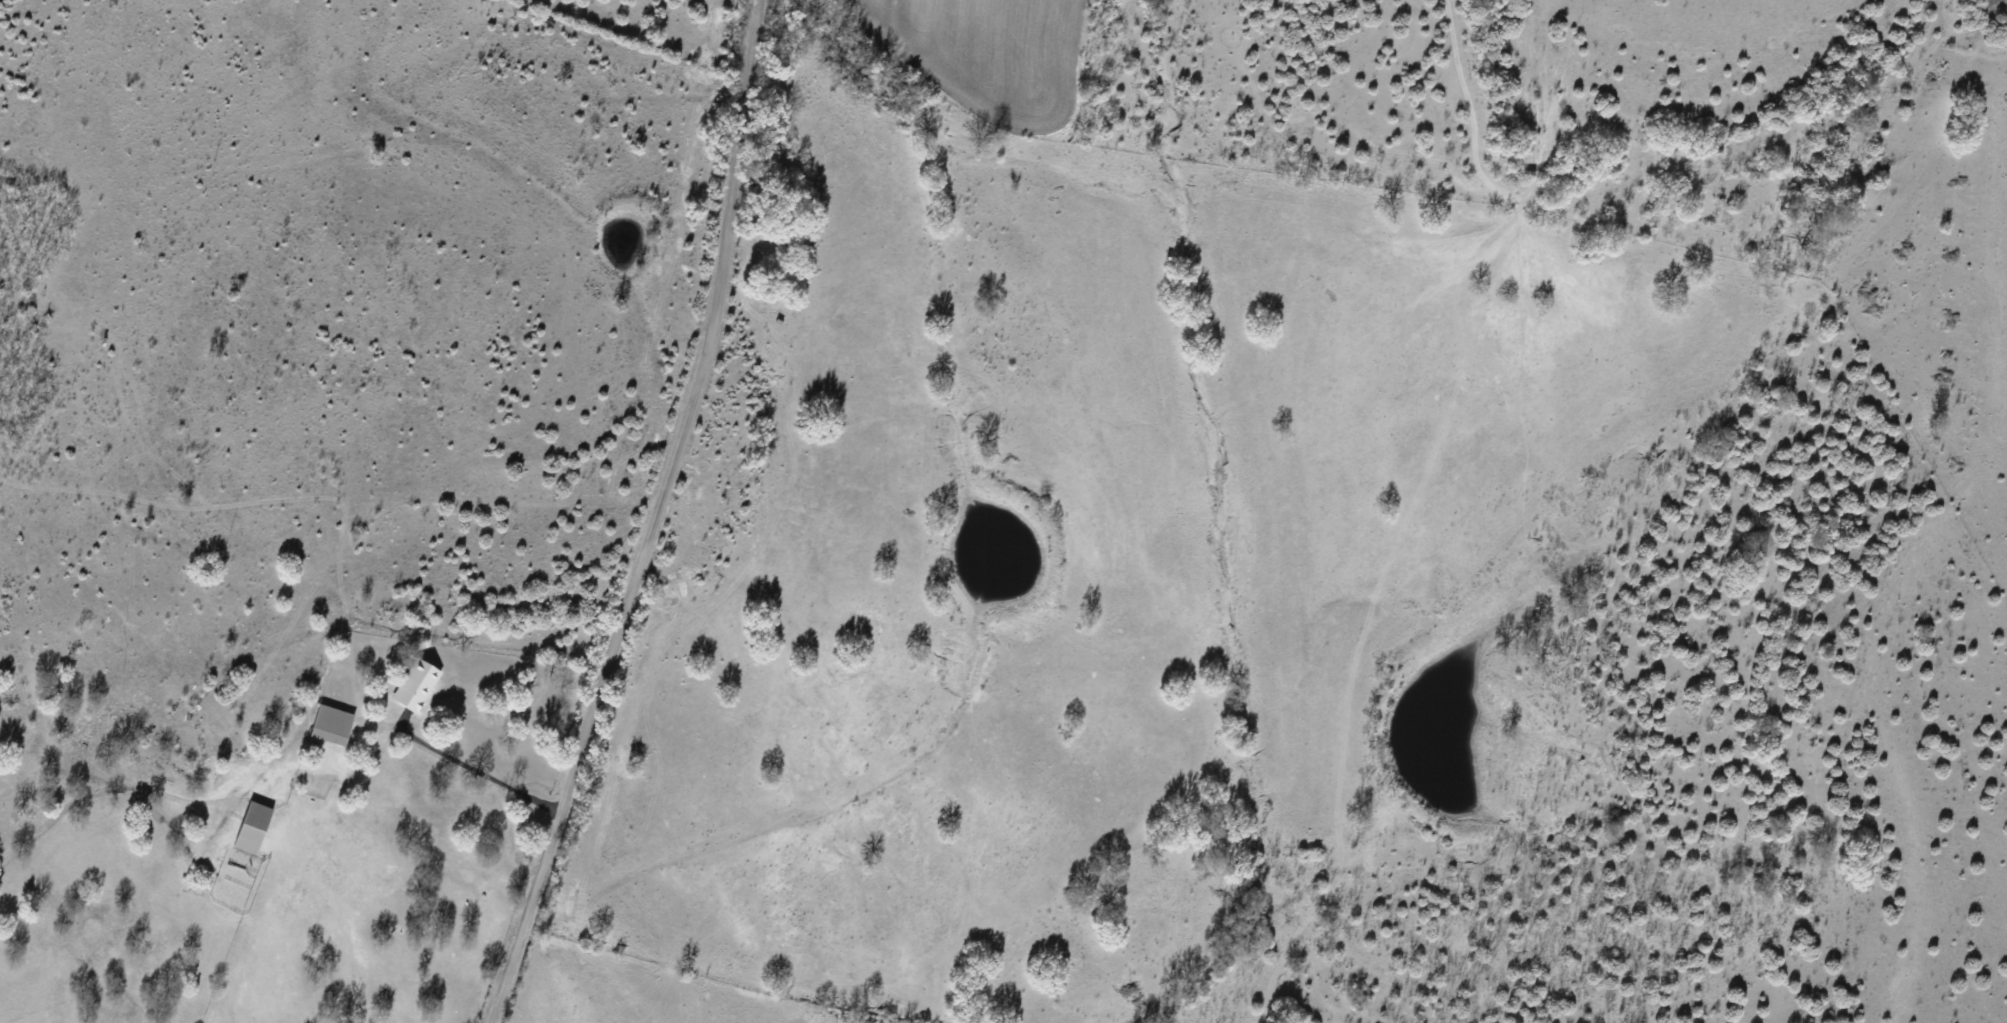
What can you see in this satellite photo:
road: (690, 519)
road: (329, 521)
building: (414, 684)
building: (329, 724)
building: (251, 827)

